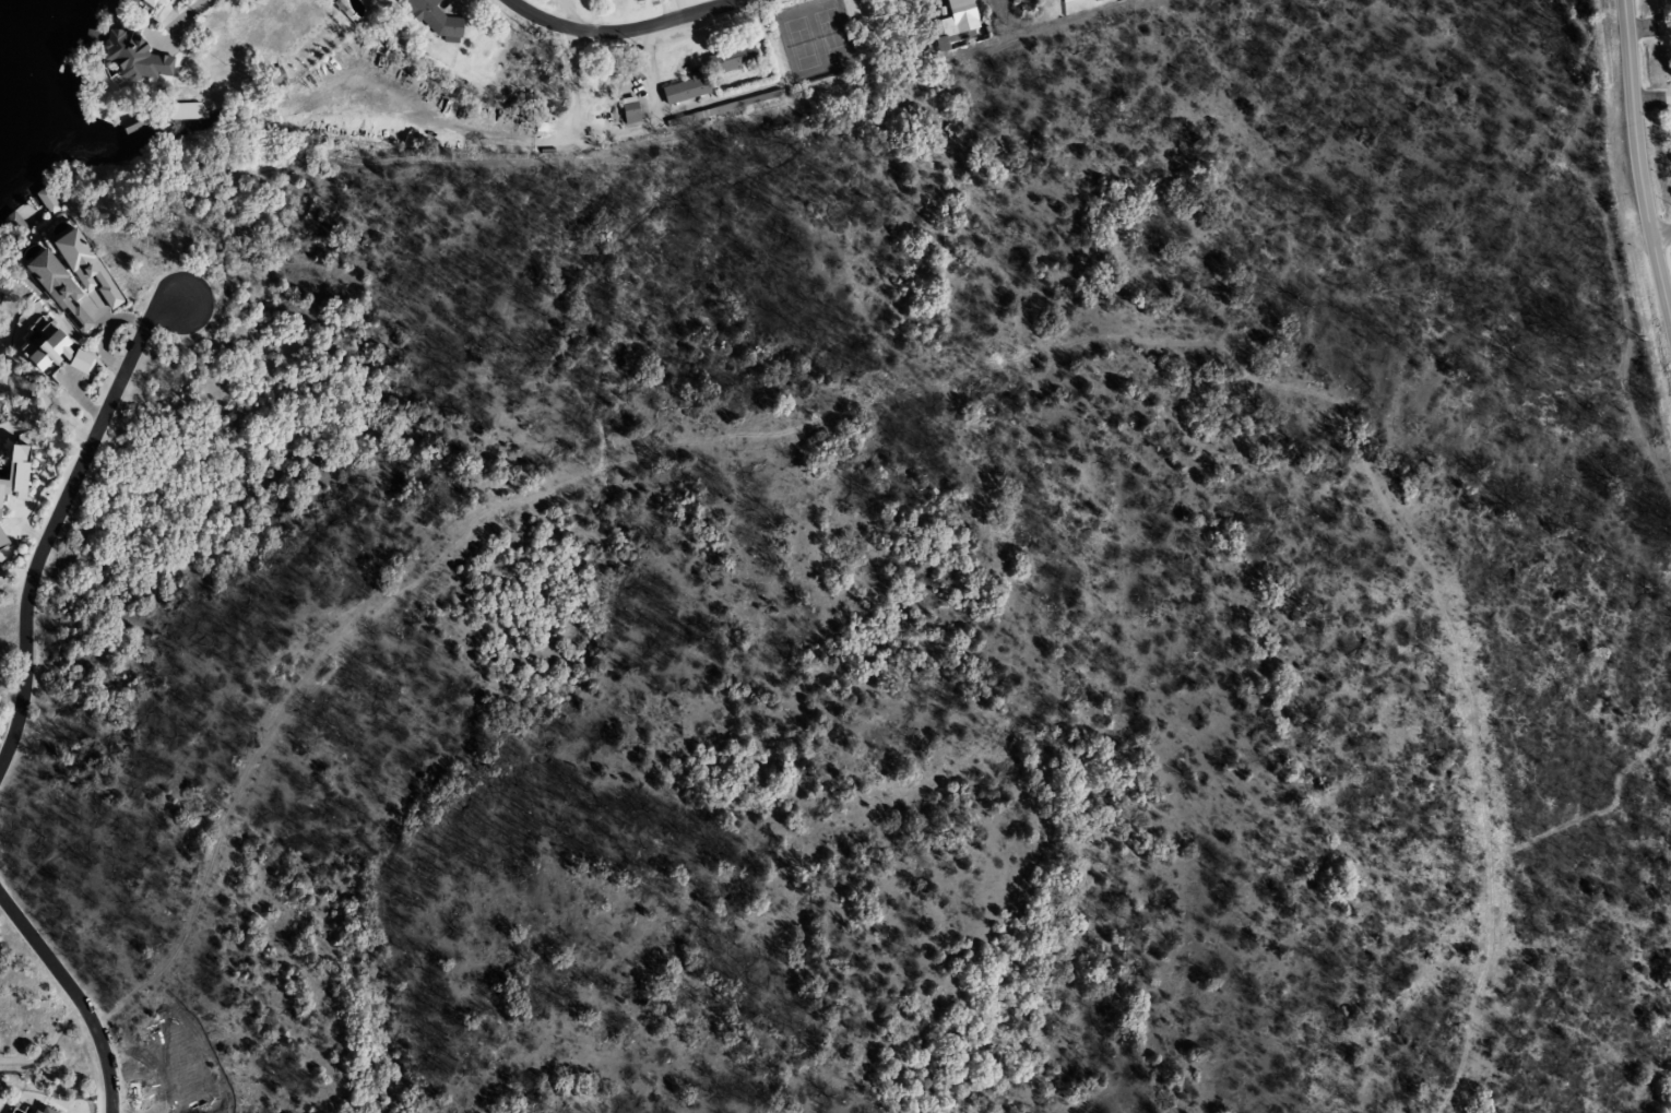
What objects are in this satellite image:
building: (1066, 1)
road: (188, 14)
building: (432, 20)
building: (955, 20)
road: (621, 29)
building: (683, 90)
building: (199, 114)
building: (628, 114)
building: (132, 125)
road: (1637, 165)
building: (21, 218)
road: (1661, 232)
building: (80, 267)
building: (54, 291)
road: (55, 517)
road: (75, 995)

